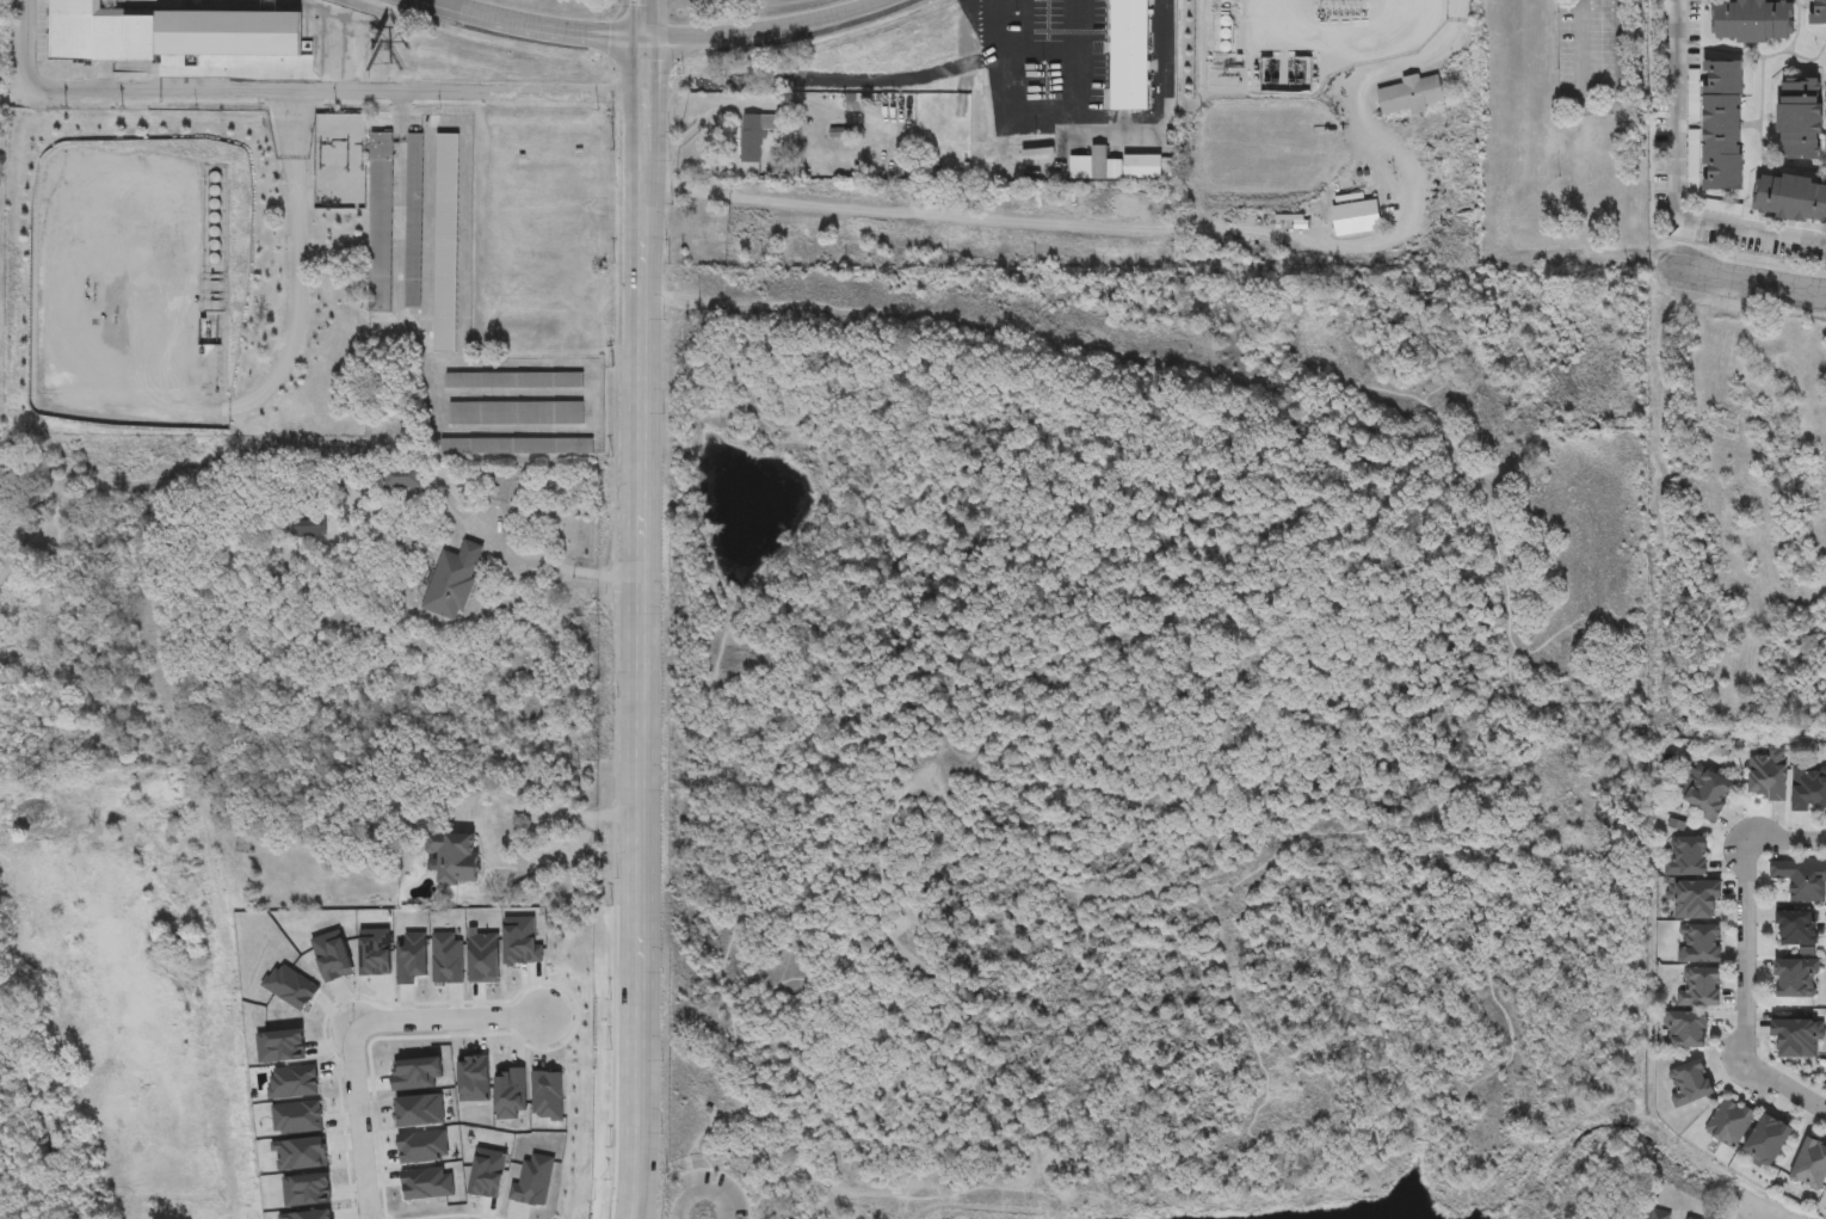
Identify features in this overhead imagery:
road: (973, 2)
building: (1818, 13)
road: (642, 19)
building: (1753, 23)
building: (97, 35)
road: (662, 37)
road: (1337, 41)
road: (217, 43)
road: (1043, 53)
building: (1129, 55)
road: (1077, 62)
road: (895, 81)
road: (292, 90)
building: (1409, 97)
road: (660, 103)
building: (856, 103)
road: (627, 104)
road: (1604, 107)
road: (396, 115)
building: (1801, 116)
building: (1722, 122)
road: (1115, 124)
road: (1375, 131)
building: (759, 133)
building: (1141, 168)
road: (1679, 178)
road: (642, 179)
building: (1790, 196)
road: (979, 218)
building: (1356, 220)
building: (413, 222)
building: (380, 224)
building: (445, 242)
road: (1756, 281)
road: (676, 298)
road: (876, 314)
building: (513, 381)
building: (514, 414)
building: (516, 447)
building: (401, 478)
building: (309, 529)
road: (556, 568)
building: (452, 581)
road: (1577, 630)
road: (975, 639)
road: (711, 689)
road: (1241, 690)
road: (641, 703)
building: (1768, 774)
building: (1809, 788)
building: (1707, 794)
road: (541, 815)
road: (1787, 842)
building: (454, 856)
building: (1686, 857)
building: (1802, 880)
building: (1695, 900)
road: (881, 905)
building: (1796, 928)
building: (519, 940)
building: (1698, 944)
building: (375, 949)
building: (332, 954)
building: (409, 956)
building: (482, 956)
building: (444, 958)
building: (550, 969)
building: (1796, 979)
building: (1702, 989)
road: (765, 997)
road: (1744, 998)
road: (1250, 1018)
road: (347, 1024)
building: (1688, 1030)
building: (1796, 1039)
road: (1503, 1057)
building: (415, 1072)
building: (473, 1077)
building: (291, 1081)
building: (1691, 1084)
building: (510, 1091)
building: (547, 1094)
building: (418, 1109)
road: (1456, 1110)
road: (897, 1114)
building: (296, 1116)
building: (1729, 1123)
building: (1768, 1140)
building: (420, 1145)
building: (300, 1150)
building: (1812, 1165)
building: (485, 1169)
road: (723, 1176)
building: (531, 1178)
building: (422, 1182)
road: (969, 1190)
road: (1295, 1190)
road: (701, 1193)
parking lot: (732, 1195)
building: (307, 1213)
road: (1753, 1213)
road: (1765, 1214)
building: (1664, 1215)

